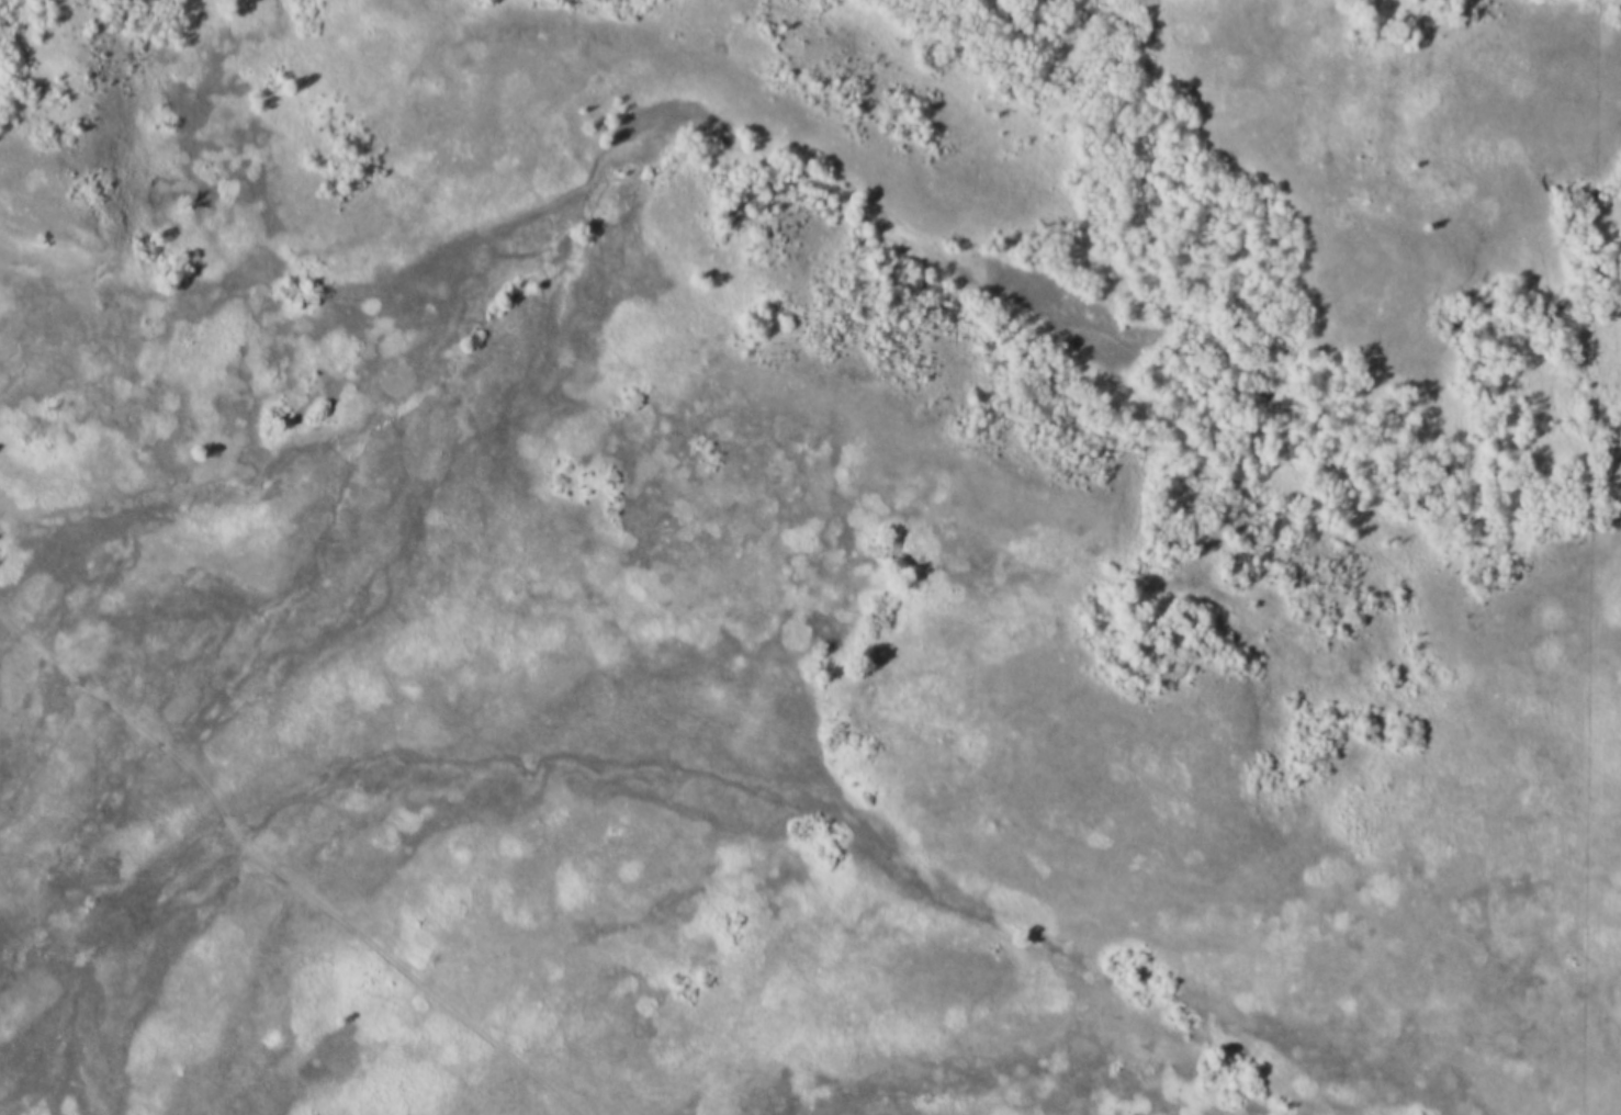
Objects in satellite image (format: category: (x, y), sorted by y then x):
road: (277, 874)

